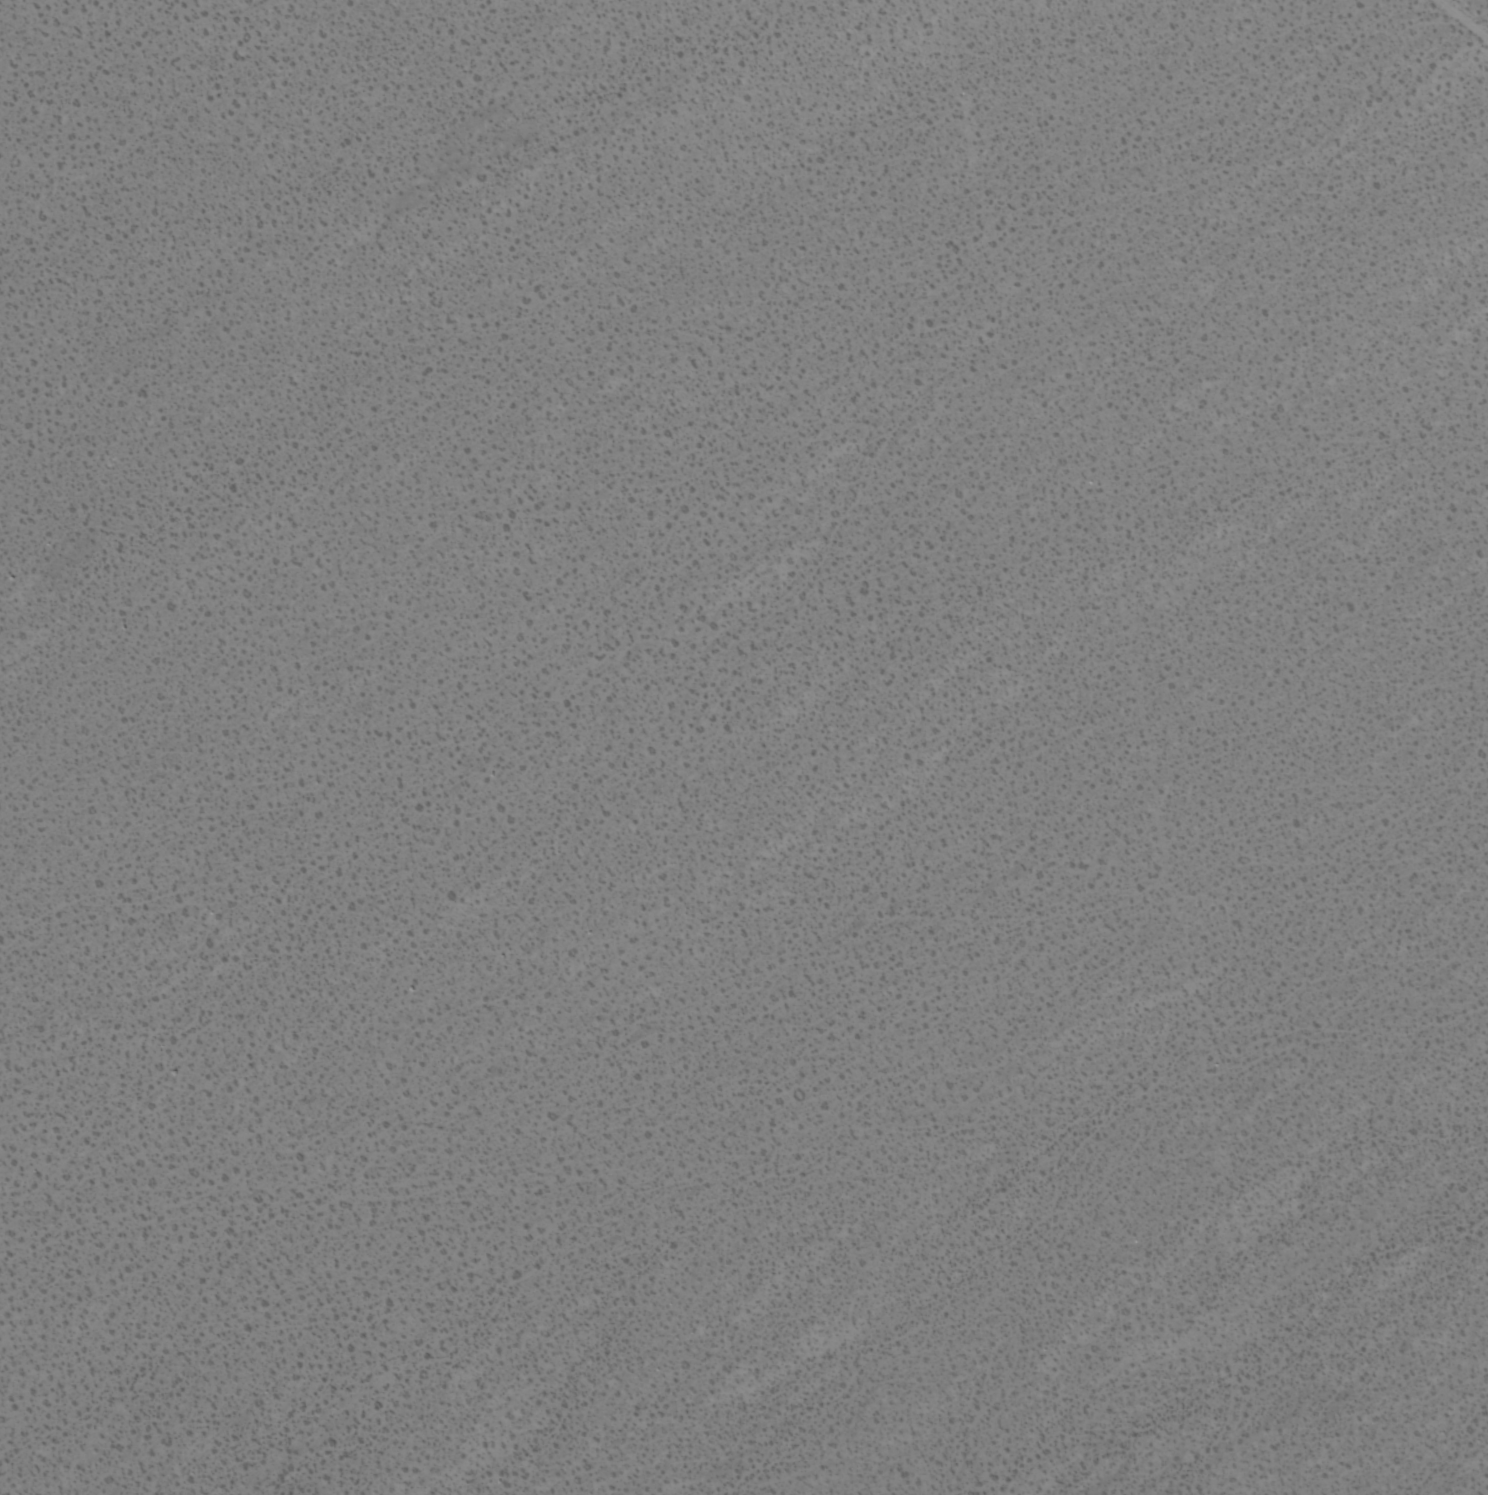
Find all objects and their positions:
road: (1466, 17)

